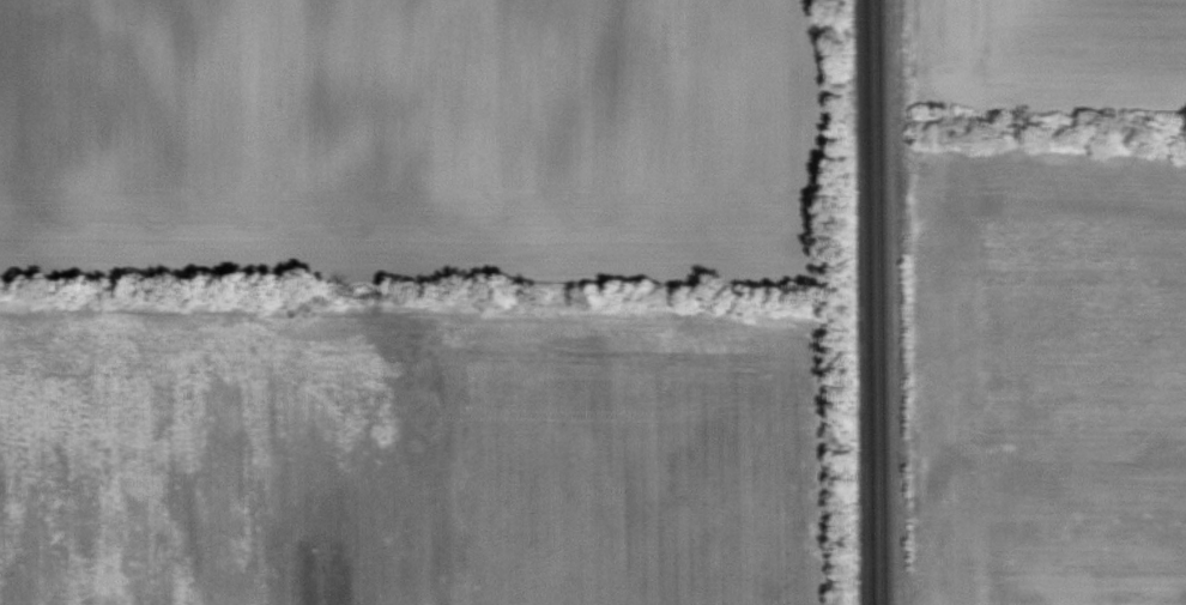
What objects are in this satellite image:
railway: (869, 302)
railway: (881, 302)

